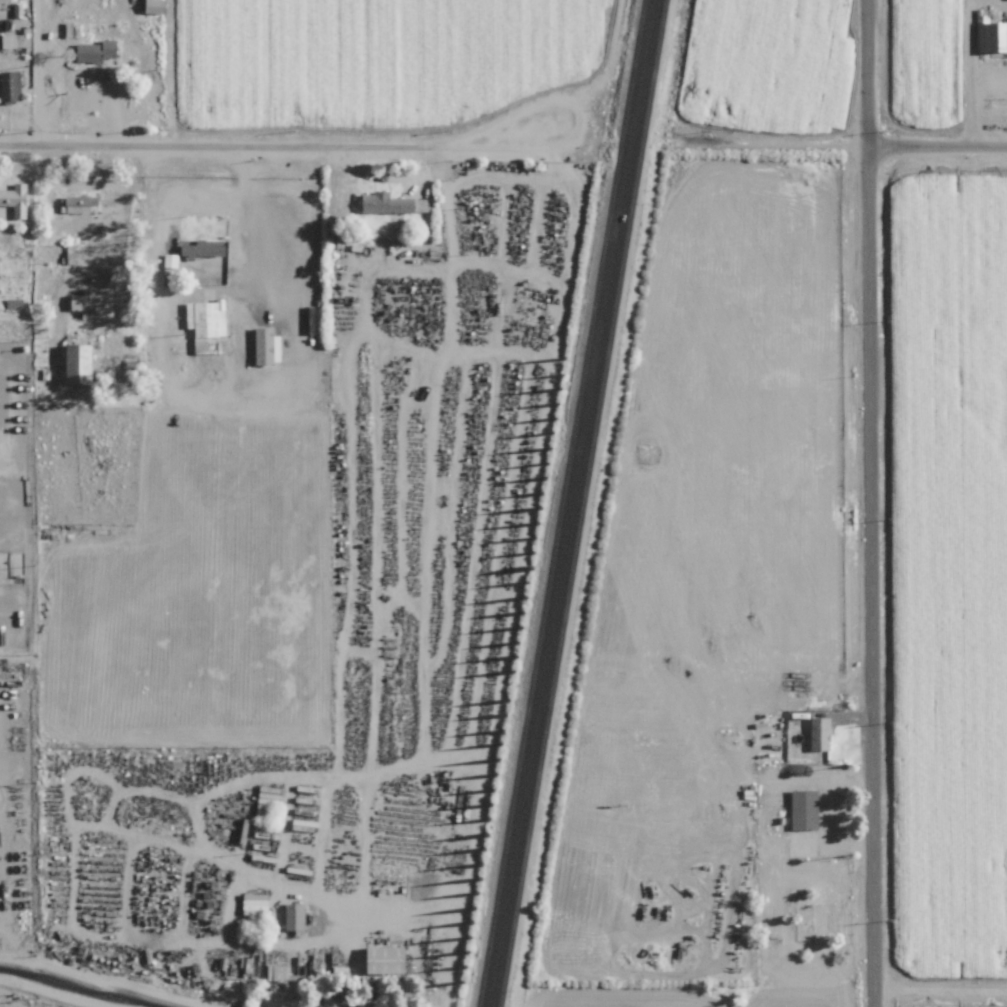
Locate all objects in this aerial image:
building: (991, 36)
building: (18, 38)
crop: (367, 53)
crop: (948, 60)
crop: (20, 62)
road: (967, 73)
road: (277, 142)
road: (938, 147)
building: (14, 200)
building: (385, 203)
building: (72, 205)
road: (125, 212)
road: (250, 216)
building: (94, 302)
building: (268, 345)
building: (78, 363)
road: (570, 503)
road: (871, 503)
crop: (949, 570)
crop: (16, 694)
building: (820, 733)
building: (806, 810)
road: (444, 913)
building: (294, 916)
building: (385, 960)
building: (276, 973)
crop: (951, 995)
crop: (118, 1002)

